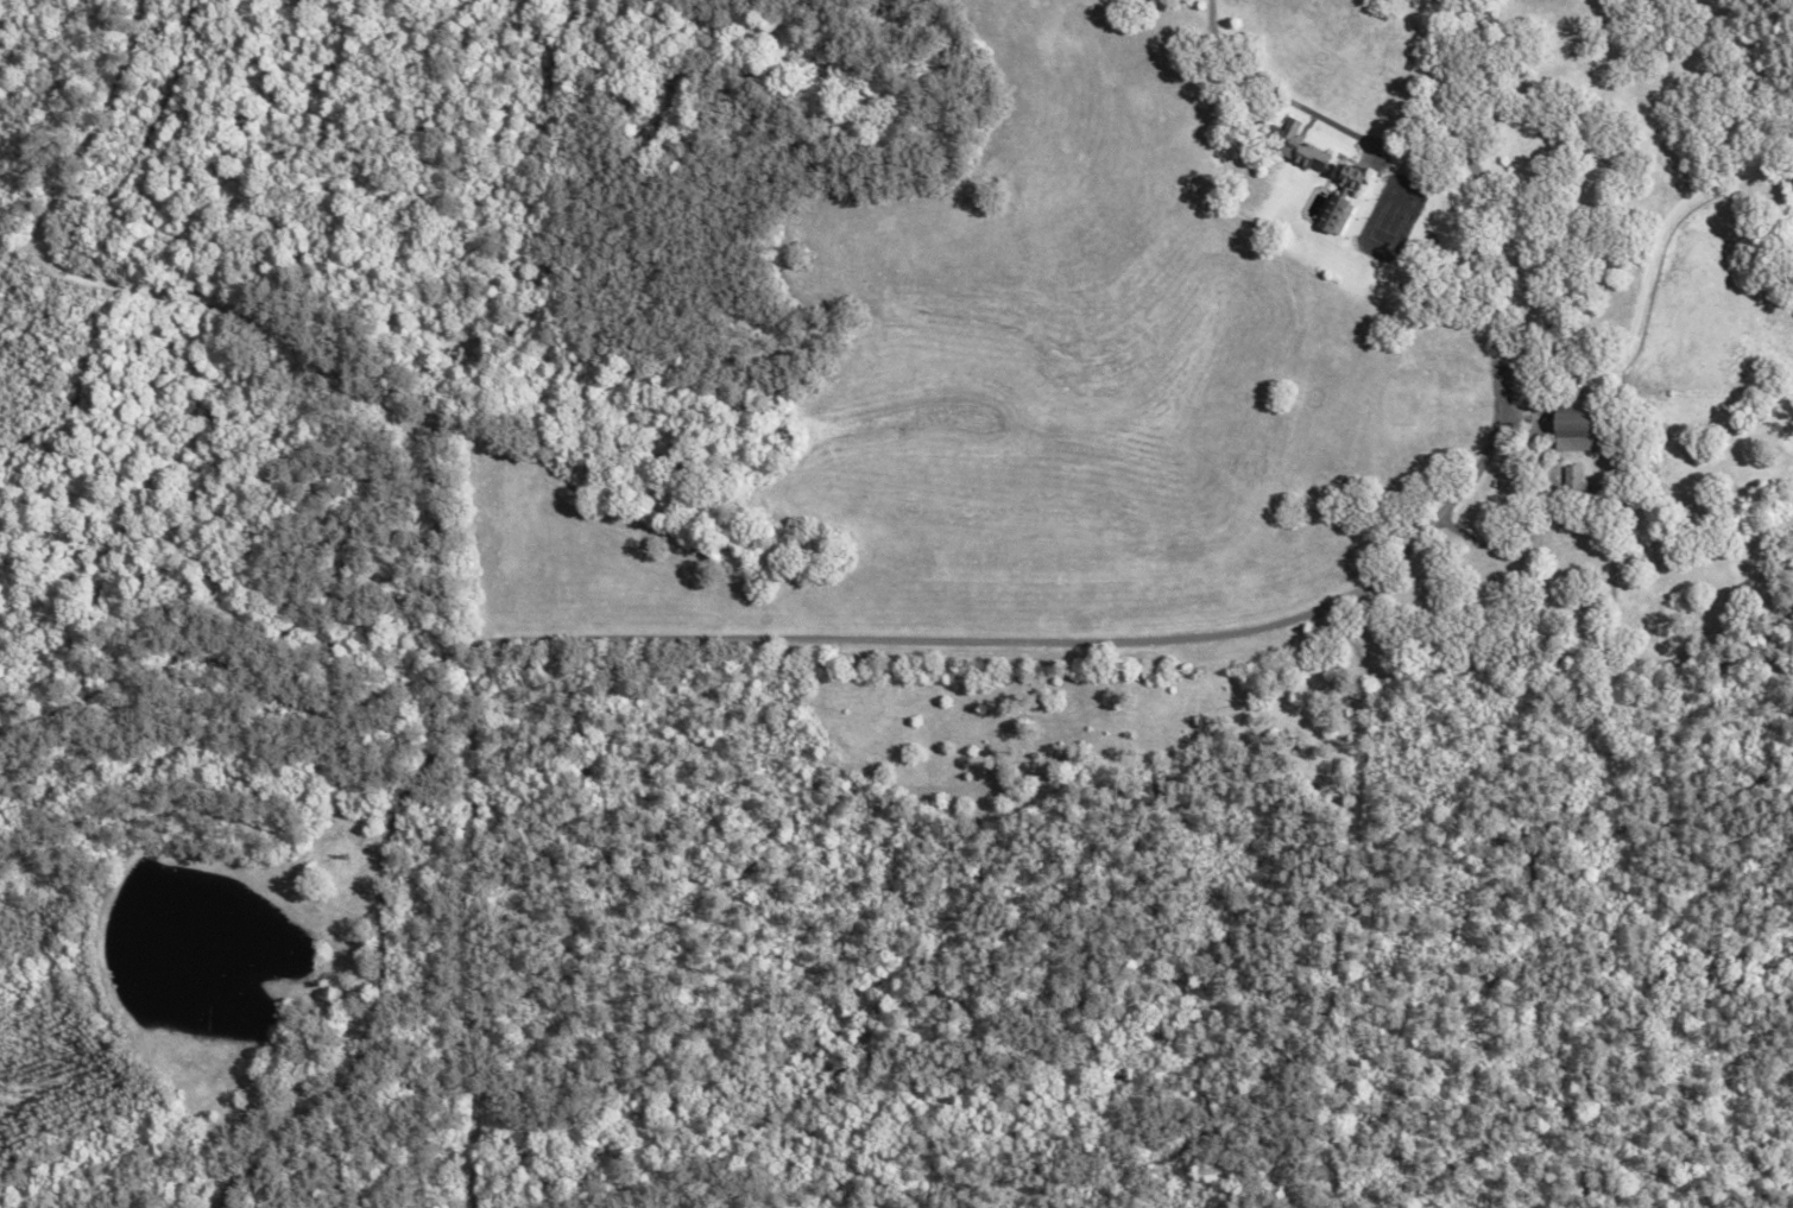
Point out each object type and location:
building: (1313, 154)
building: (1339, 214)
building: (1581, 430)
road: (1362, 902)

